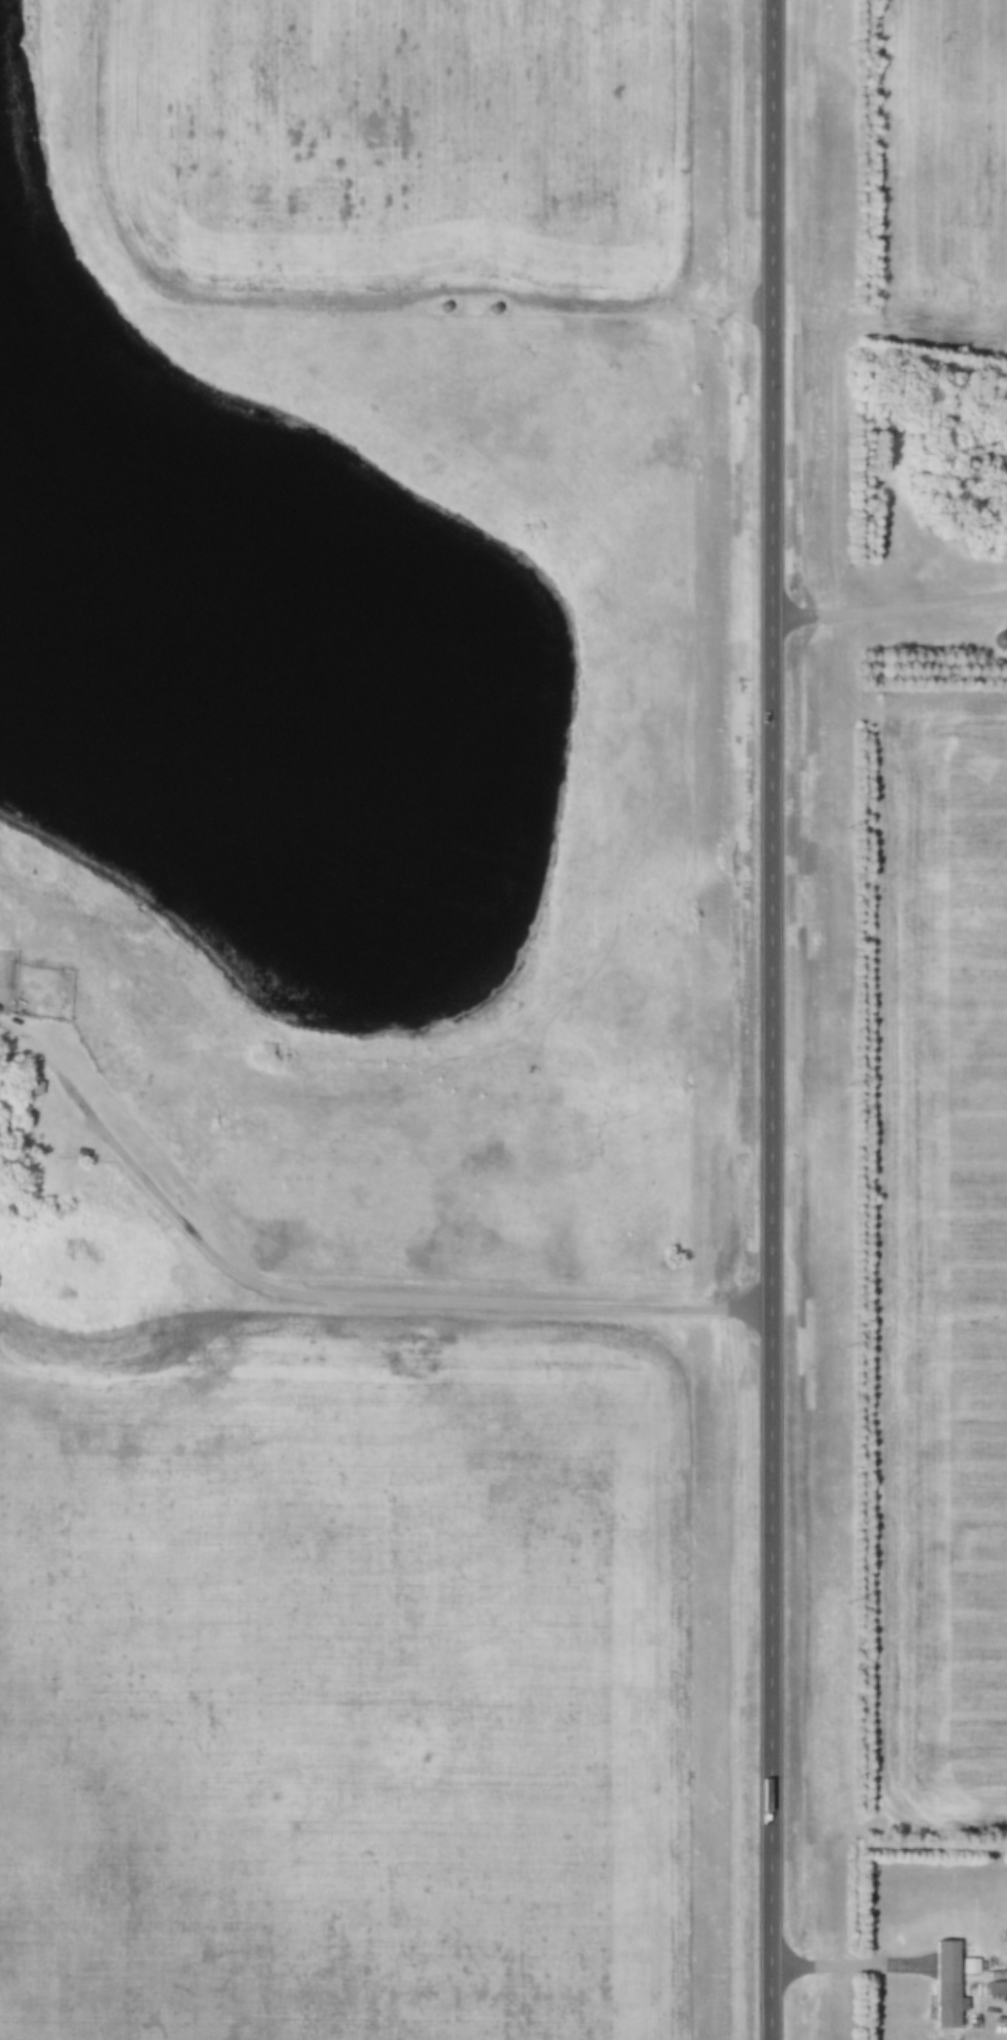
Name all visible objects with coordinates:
road: (887, 608)
building: (1002, 640)
road: (768, 1019)
building: (34, 1089)
road: (327, 1293)
building: (423, 1339)
building: (947, 1985)
building: (997, 1989)

